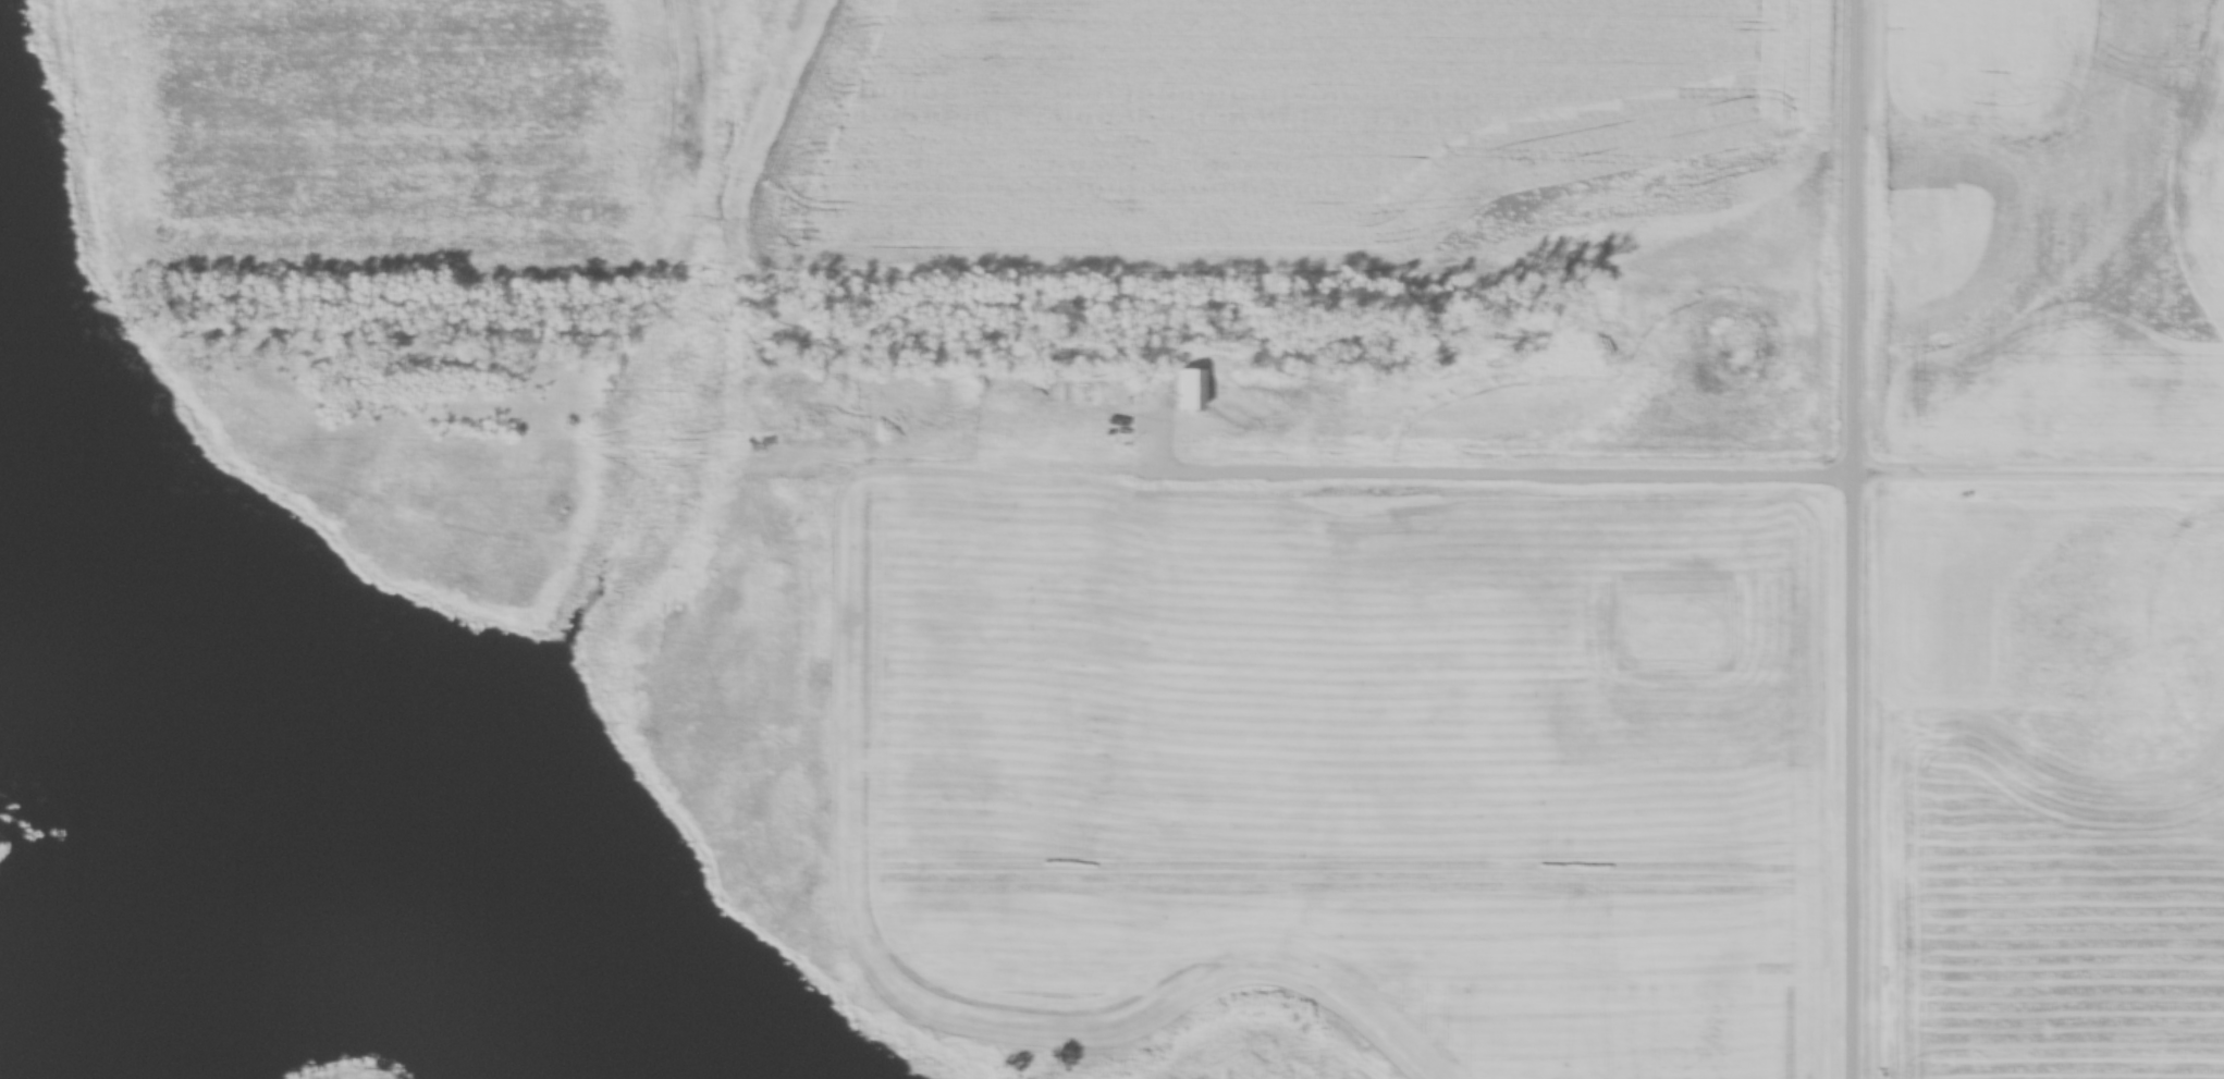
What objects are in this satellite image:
road: (2038, 495)
road: (1851, 539)

